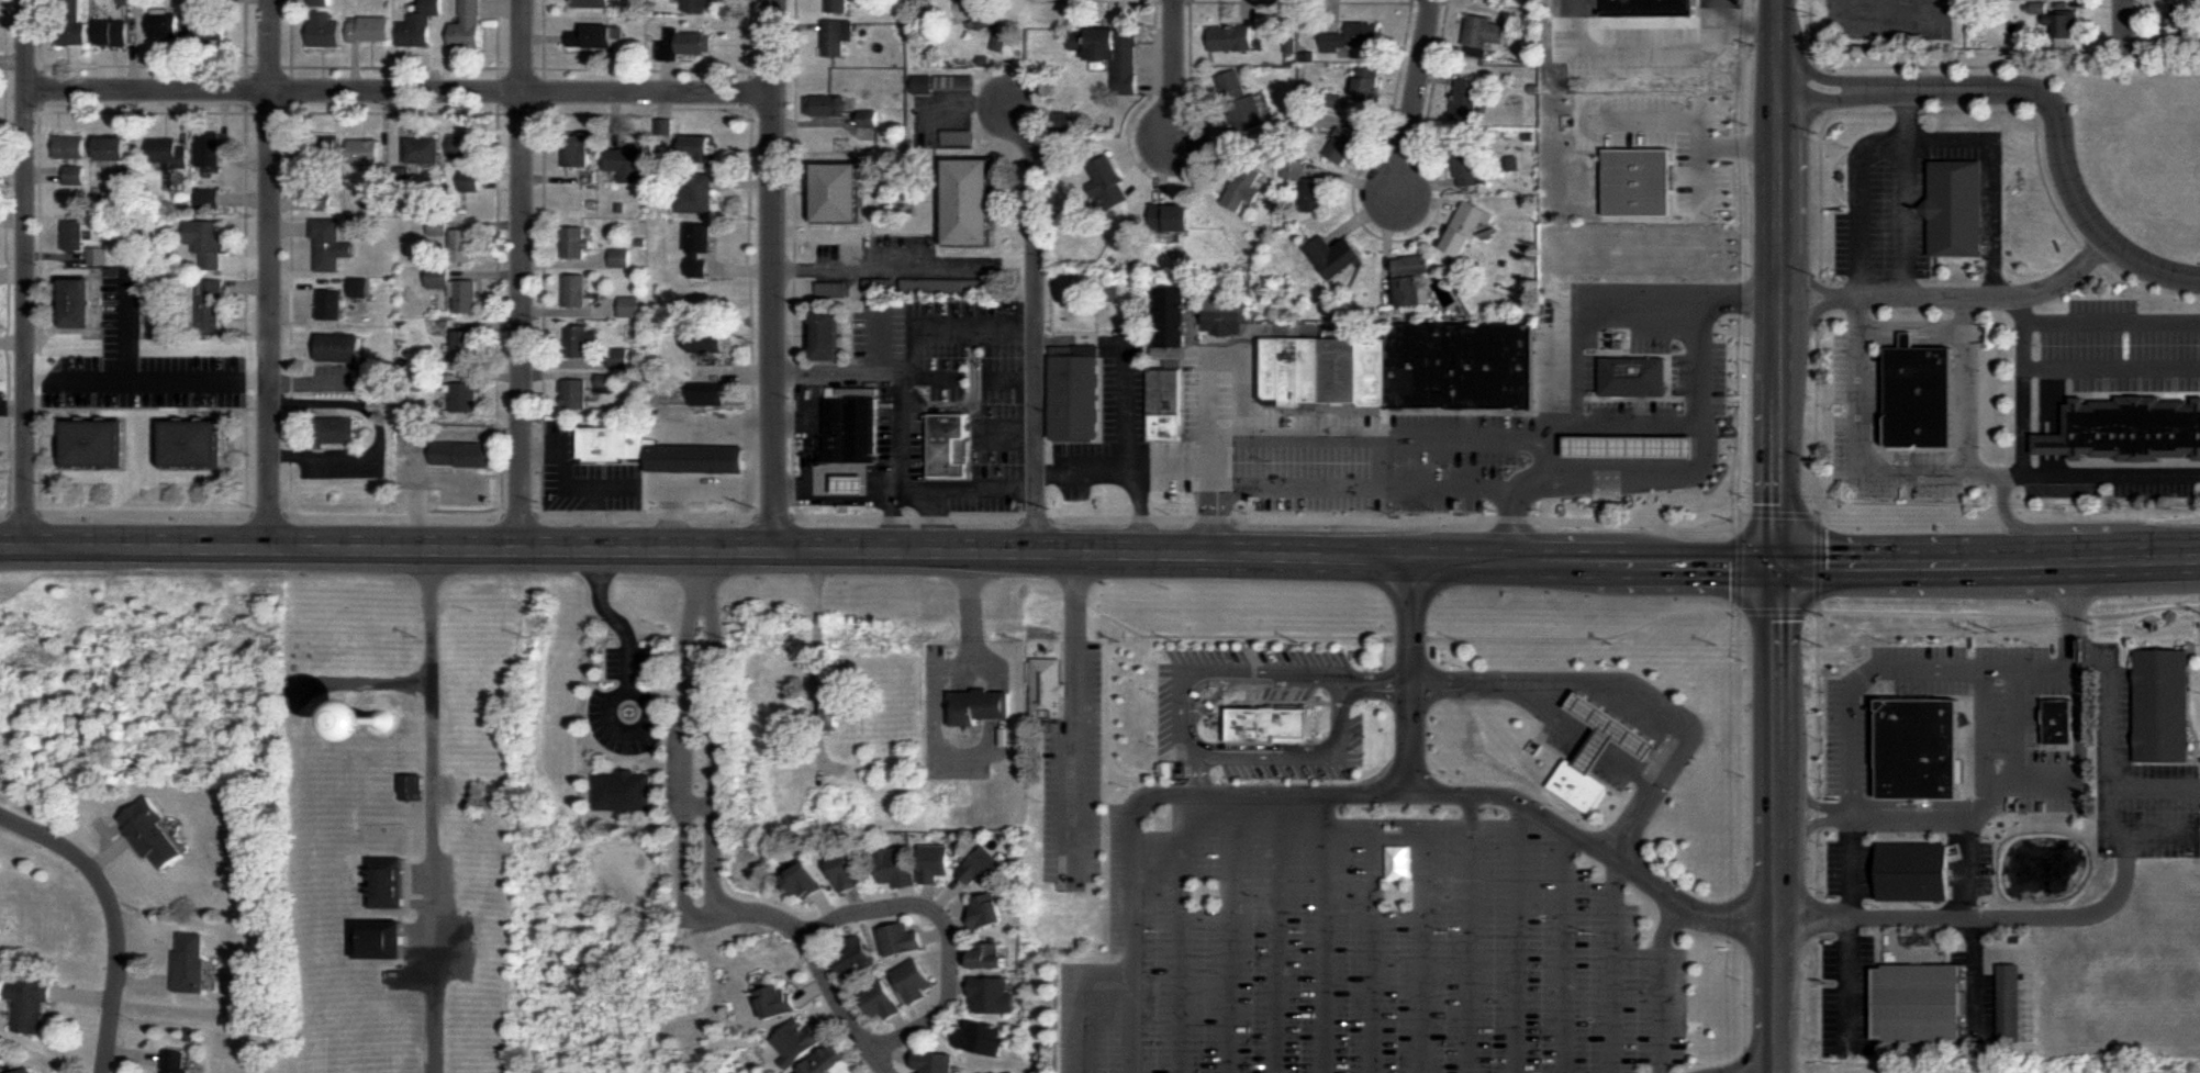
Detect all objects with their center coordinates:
building: (130, 1)
road: (1410, 1)
building: (321, 2)
road: (2104, 2)
building: (593, 3)
building: (841, 5)
building: (700, 7)
building: (2037, 7)
building: (1652, 9)
building: (985, 12)
road: (1881, 12)
parking lot: (1903, 13)
building: (2182, 15)
road: (2145, 18)
road: (2119, 20)
building: (74, 23)
building: (213, 23)
road: (1739, 24)
building: (2062, 24)
building: (167, 25)
building: (420, 25)
building: (468, 25)
road: (1639, 25)
road: (1883, 25)
building: (325, 27)
building: (371, 29)
building: (115, 32)
building: (1483, 34)
building: (836, 36)
building: (1233, 36)
building: (1355, 36)
building: (594, 38)
building: (1001, 40)
road: (1719, 42)
building: (685, 45)
road: (1782, 47)
building: (1114, 53)
road: (1908, 65)
road: (143, 66)
road: (291, 66)
road: (394, 67)
road: (540, 69)
road: (645, 69)
road: (1179, 72)
building: (925, 83)
building: (1367, 85)
road: (41, 88)
road: (246, 89)
road: (1396, 89)
road: (751, 90)
road: (404, 93)
road: (1573, 96)
road: (2044, 97)
building: (1240, 98)
building: (1466, 101)
road: (1414, 102)
building: (826, 105)
road: (969, 107)
road: (652, 111)
road: (269, 112)
road: (393, 112)
road: (1869, 113)
building: (869, 118)
road: (1593, 120)
building: (1064, 121)
building: (1252, 123)
building: (663, 125)
road: (1686, 142)
building: (215, 145)
building: (468, 145)
building: (75, 146)
building: (324, 147)
building: (697, 147)
building: (1342, 147)
building: (365, 148)
building: (423, 148)
building: (577, 150)
building: (115, 152)
building: (171, 152)
building: (629, 163)
building: (1512, 163)
building: (1470, 165)
building: (1294, 168)
parking lot: (1551, 171)
building: (76, 174)
road: (1858, 176)
building: (469, 179)
road: (1992, 179)
road: (1172, 180)
road: (1783, 180)
building: (1110, 183)
building: (1667, 183)
building: (1240, 187)
building: (697, 192)
building: (844, 192)
building: (1315, 195)
building: (211, 200)
building: (974, 202)
parking lot: (1886, 206)
building: (1956, 209)
road: (246, 211)
building: (1175, 220)
road: (1906, 222)
building: (438, 227)
building: (1465, 227)
building: (75, 233)
building: (208, 241)
building: (577, 241)
building: (462, 244)
building: (333, 248)
building: (701, 248)
building: (98, 255)
building: (1333, 255)
road: (1745, 255)
road: (7, 257)
building: (619, 257)
road: (795, 258)
road: (30, 271)
road: (270, 271)
road: (909, 271)
road: (521, 273)
road: (779, 276)
building: (1415, 280)
road: (1805, 283)
building: (359, 287)
building: (576, 290)
building: (468, 297)
road: (1976, 300)
building: (80, 302)
road: (1784, 302)
building: (213, 304)
building: (331, 305)
building: (628, 305)
road: (40, 311)
building: (1227, 312)
building: (1175, 313)
road: (1805, 317)
road: (2110, 322)
road: (125, 323)
road: (1040, 327)
road: (1576, 331)
building: (830, 336)
building: (581, 339)
building: (708, 340)
building: (466, 346)
building: (342, 348)
parking lot: (2114, 349)
building: (618, 357)
building: (1461, 366)
building: (1273, 368)
road: (2110, 370)
road: (149, 371)
building: (1311, 371)
building: (1340, 372)
road: (846, 373)
building: (1374, 373)
building: (1293, 375)
building: (1629, 376)
building: (604, 382)
road: (316, 383)
road: (2021, 392)
building: (708, 393)
building: (573, 394)
building: (1077, 395)
building: (468, 398)
road: (972, 398)
building: (1923, 398)
road: (808, 400)
building: (1168, 405)
road: (14, 406)
road: (1126, 406)
road: (1211, 406)
road: (143, 409)
road: (903, 413)
parking lot: (1477, 421)
road: (1640, 421)
building: (2128, 428)
building: (852, 431)
building: (334, 432)
road: (1393, 438)
building: (196, 443)
building: (97, 444)
building: (613, 444)
building: (950, 446)
building: (1630, 447)
road: (1785, 451)
building: (459, 454)
road: (807, 454)
road: (1687, 468)
road: (855, 469)
road: (1126, 469)
road: (1914, 471)
road: (1985, 473)
road: (2109, 476)
building: (853, 483)
road: (1364, 488)
parking lot: (2156, 490)
road: (1817, 511)
road: (1213, 512)
road: (1142, 513)
road: (869, 517)
road: (1124, 519)
road: (891, 521)
road: (938, 522)
road: (2041, 530)
road: (2158, 555)
road: (1058, 556)
traffic signals: (1787, 568)
road: (701, 575)
road: (1968, 614)
road: (615, 621)
road: (1244, 636)
road: (1411, 637)
road: (1584, 637)
road: (1816, 658)
road: (818, 659)
road: (941, 664)
building: (1048, 688)
road: (1787, 690)
road: (1627, 691)
road: (702, 694)
road: (615, 697)
building: (2164, 705)
building: (981, 706)
building: (841, 708)
building: (1272, 708)
road: (1160, 709)
road: (1076, 717)
building: (2061, 722)
building: (1610, 733)
road: (1584, 748)
building: (1923, 749)
road: (716, 753)
road: (689, 756)
road: (2015, 765)
road: (1847, 771)
parking lot: (1076, 779)
road: (2156, 784)
building: (1581, 786)
building: (414, 787)
building: (625, 792)
road: (1504, 796)
road: (1144, 802)
road: (703, 806)
road: (433, 809)
building: (150, 831)
road: (2149, 832)
road: (1739, 841)
building: (935, 863)
road: (1967, 864)
building: (896, 867)
building: (983, 867)
building: (850, 872)
building: (1916, 872)
building: (805, 880)
building: (389, 883)
road: (949, 895)
road: (926, 896)
road: (908, 897)
road: (857, 902)
road: (827, 907)
road: (2101, 908)
building: (989, 909)
road: (113, 915)
road: (1376, 924)
road: (959, 927)
road: (847, 928)
road: (1422, 928)
road: (935, 932)
road: (1182, 934)
road: (1230, 934)
road: (1277, 934)
road: (1324, 934)
road: (1468, 935)
road: (948, 936)
road: (1518, 937)
building: (901, 940)
building: (381, 941)
road: (1787, 942)
parking lot: (1365, 948)
road: (816, 950)
road: (1564, 951)
building: (856, 954)
road: (960, 957)
building: (990, 958)
building: (190, 964)
road: (1615, 966)
building: (914, 981)
road: (1662, 986)
road: (815, 988)
road: (961, 991)
road: (655, 992)
building: (993, 996)
road: (1090, 1001)
building: (882, 1002)
building: (780, 1003)
building: (30, 1004)
building: (1921, 1004)
building: (2011, 1007)
road: (927, 1011)
road: (834, 1019)
road: (902, 1026)
road: (946, 1031)
building: (983, 1039)
building: (799, 1042)
road: (901, 1055)
building: (174, 1063)
building: (833, 1063)
building: (935, 1063)
building: (2, 1066)
building: (27, 1071)
building: (1000, 1072)

